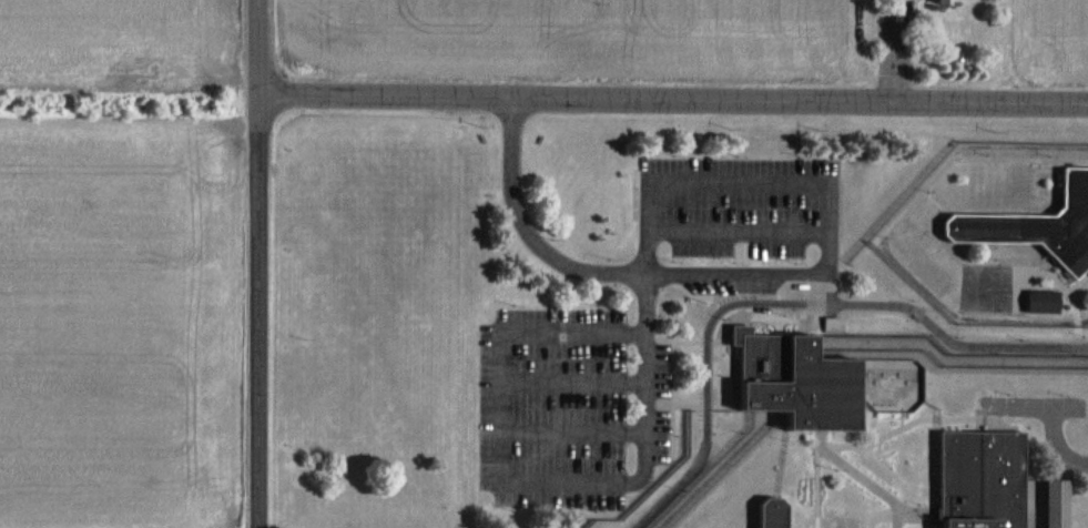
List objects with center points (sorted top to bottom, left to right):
building: (934, 1)
road: (260, 45)
road: (673, 97)
building: (1037, 224)
road: (601, 271)
building: (1041, 302)
road: (258, 309)
road: (786, 313)
building: (785, 383)
building: (974, 478)
building: (762, 515)

